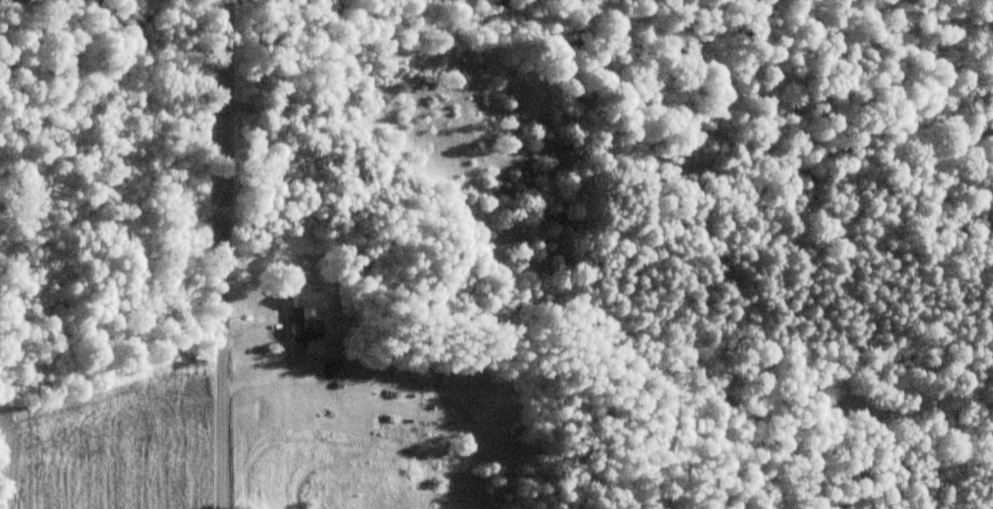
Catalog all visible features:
road: (222, 254)
building: (300, 312)

